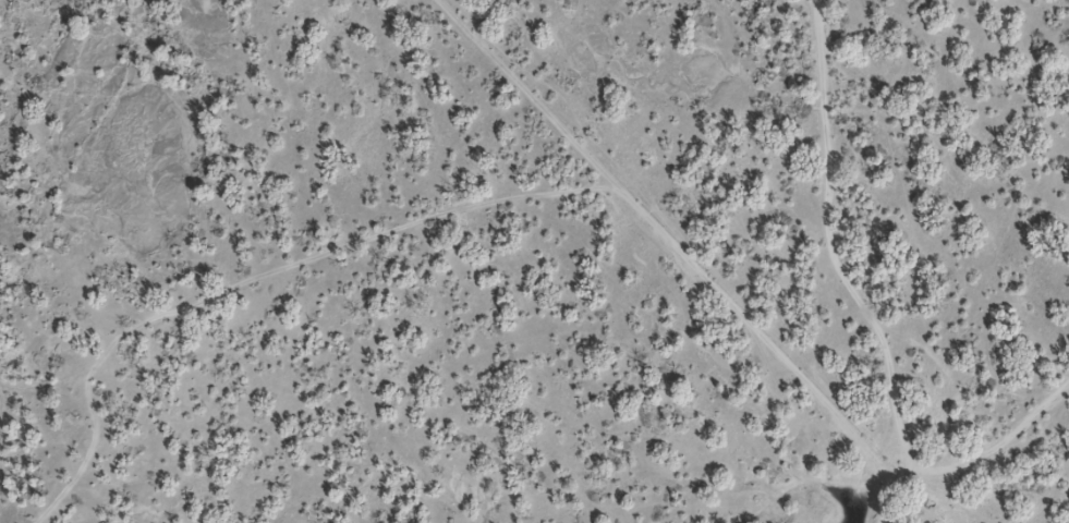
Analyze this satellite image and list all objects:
road: (846, 271)
road: (997, 447)

